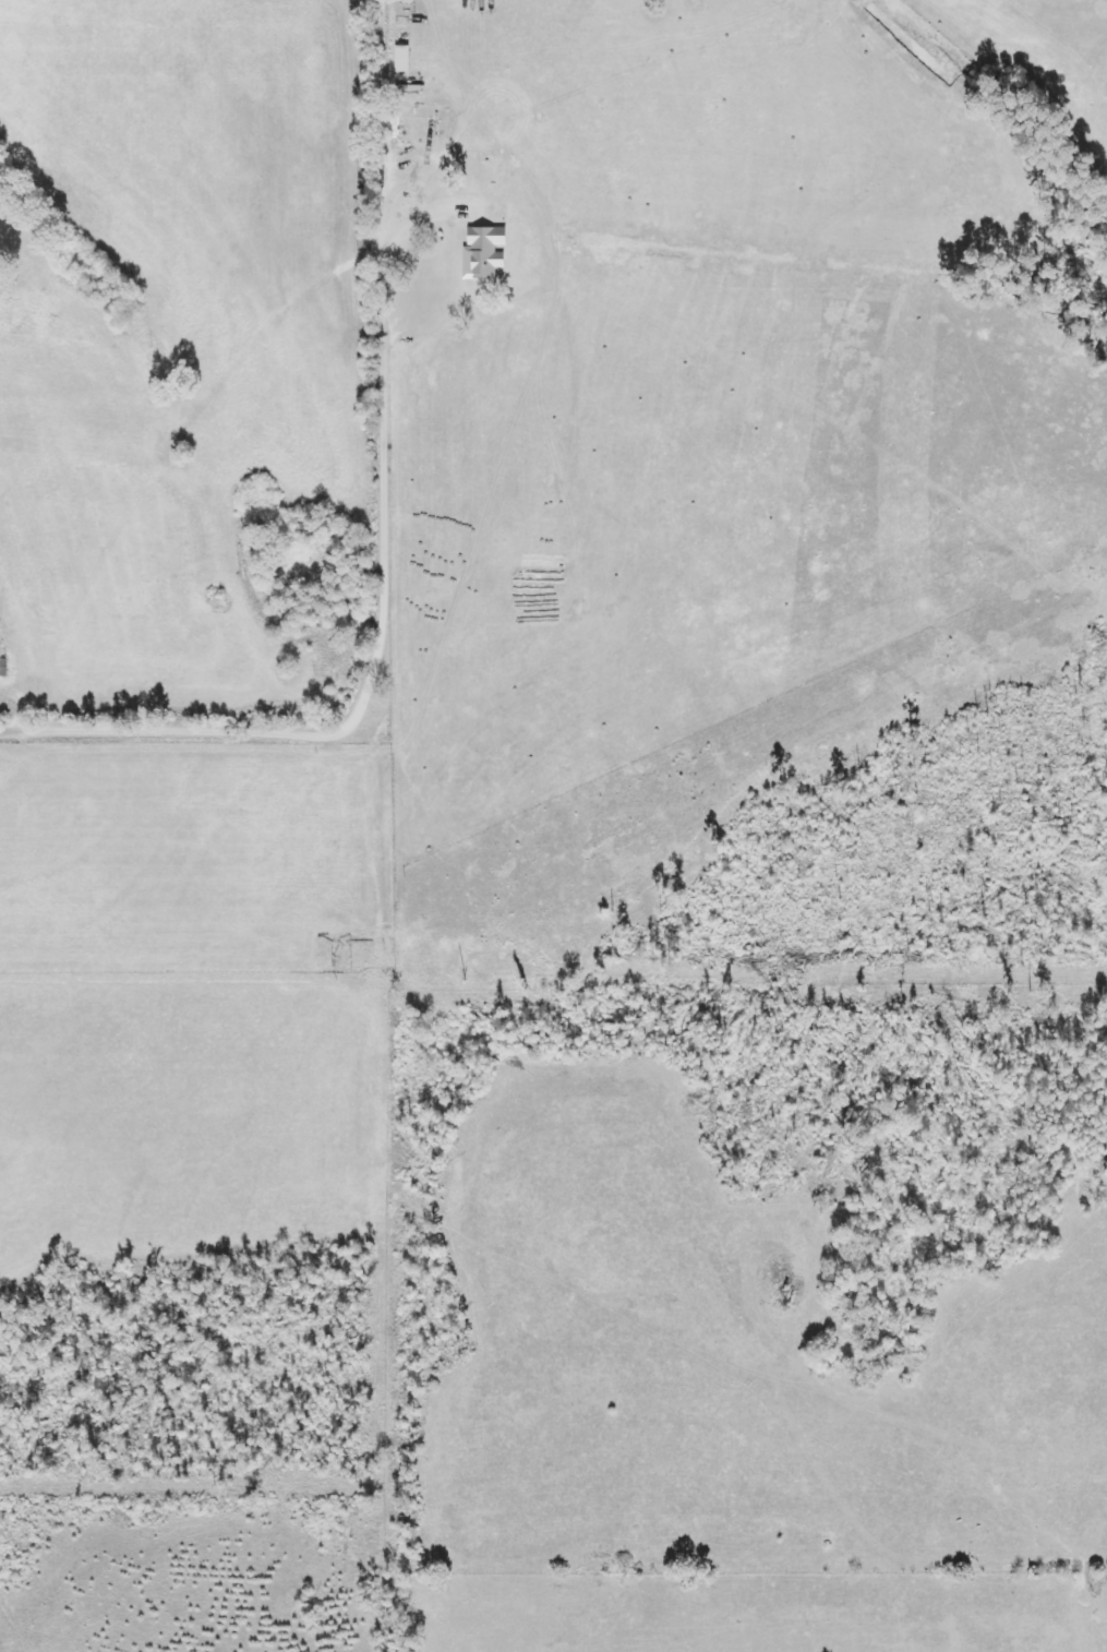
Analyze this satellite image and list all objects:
building: (482, 253)
building: (2, 668)
road: (358, 680)

